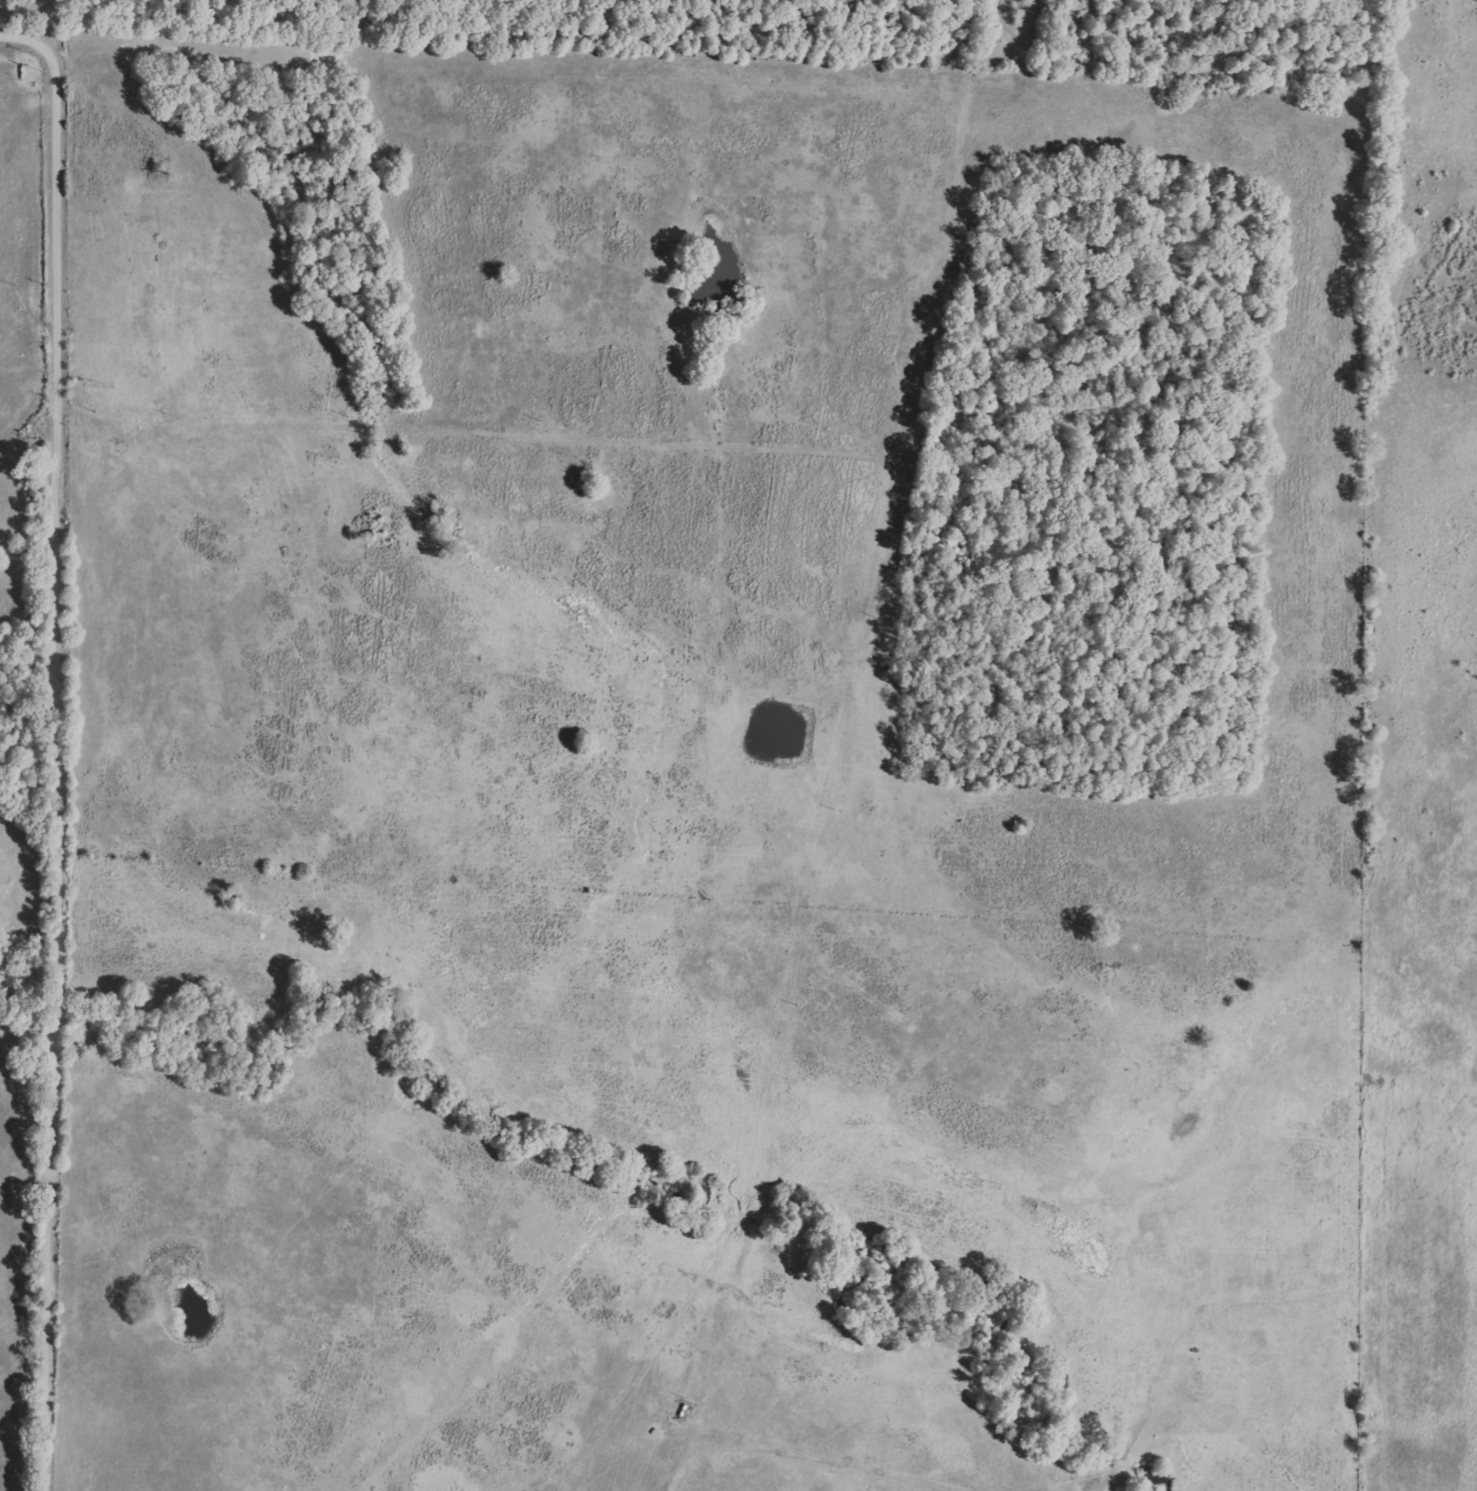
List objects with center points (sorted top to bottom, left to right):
road: (58, 745)

